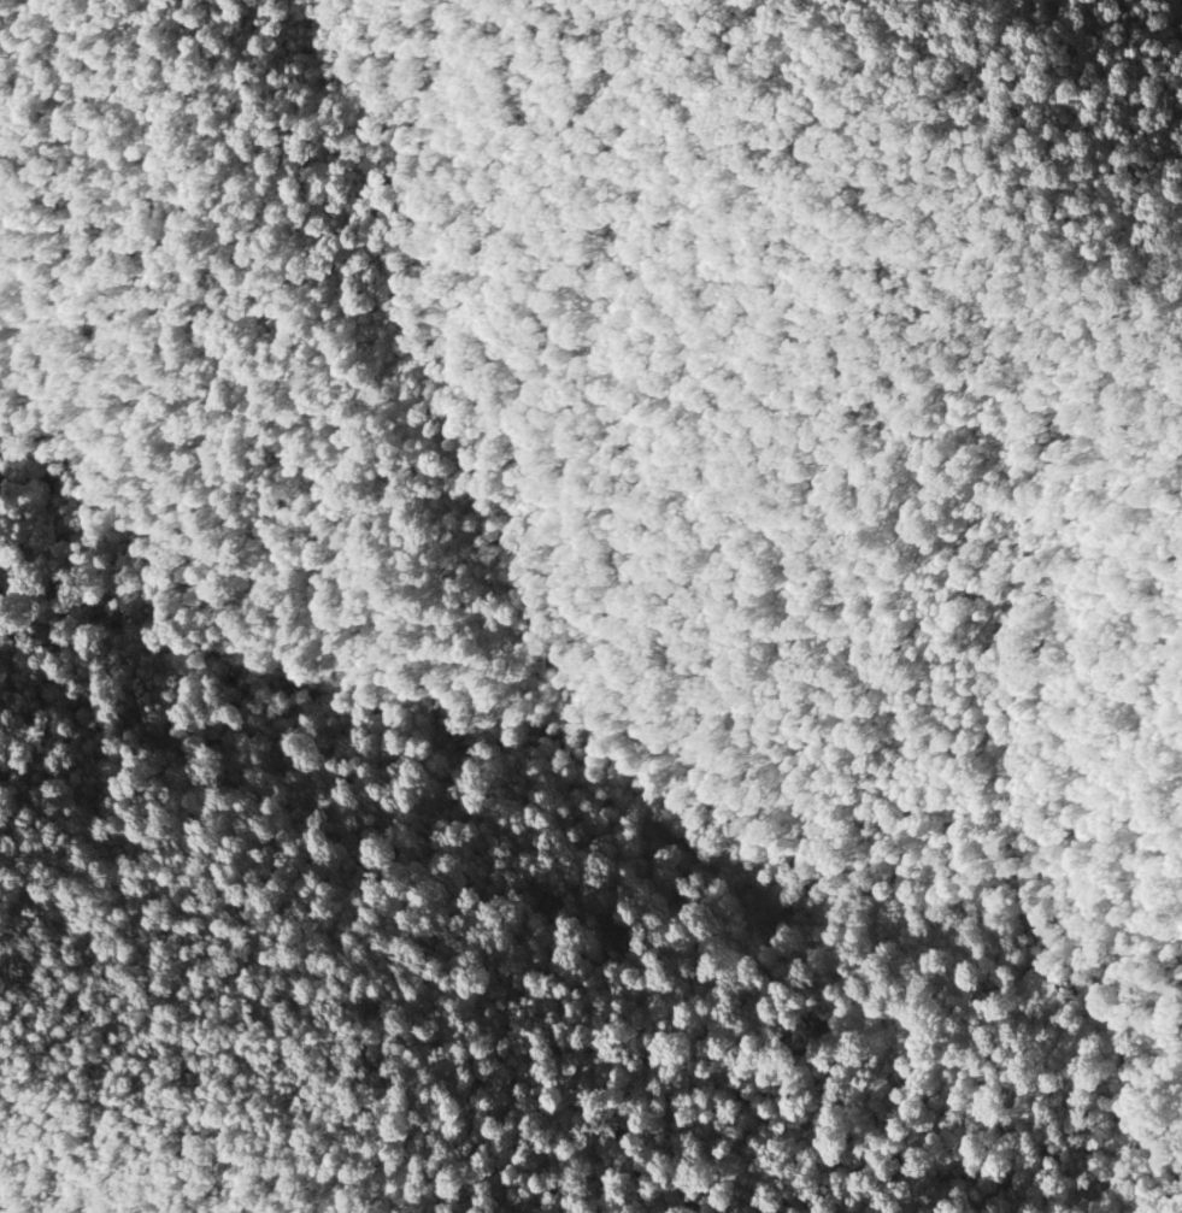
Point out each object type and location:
road: (1083, 1049)

